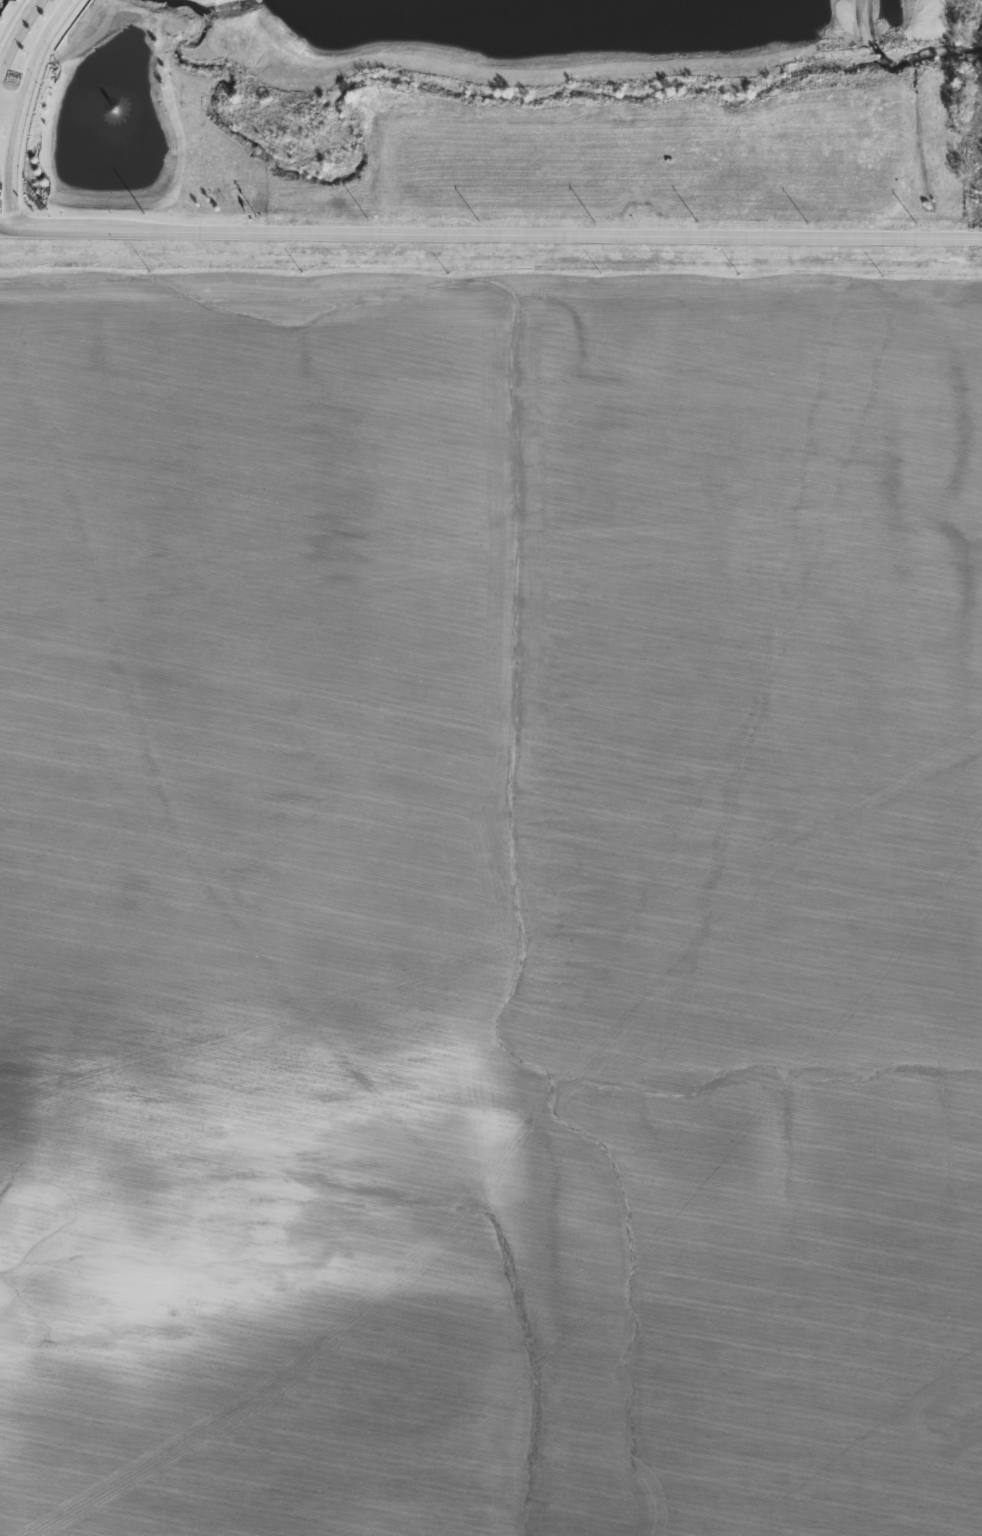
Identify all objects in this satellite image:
road: (16, 27)
road: (20, 109)
road: (9, 112)
road: (491, 234)
crop: (490, 898)

